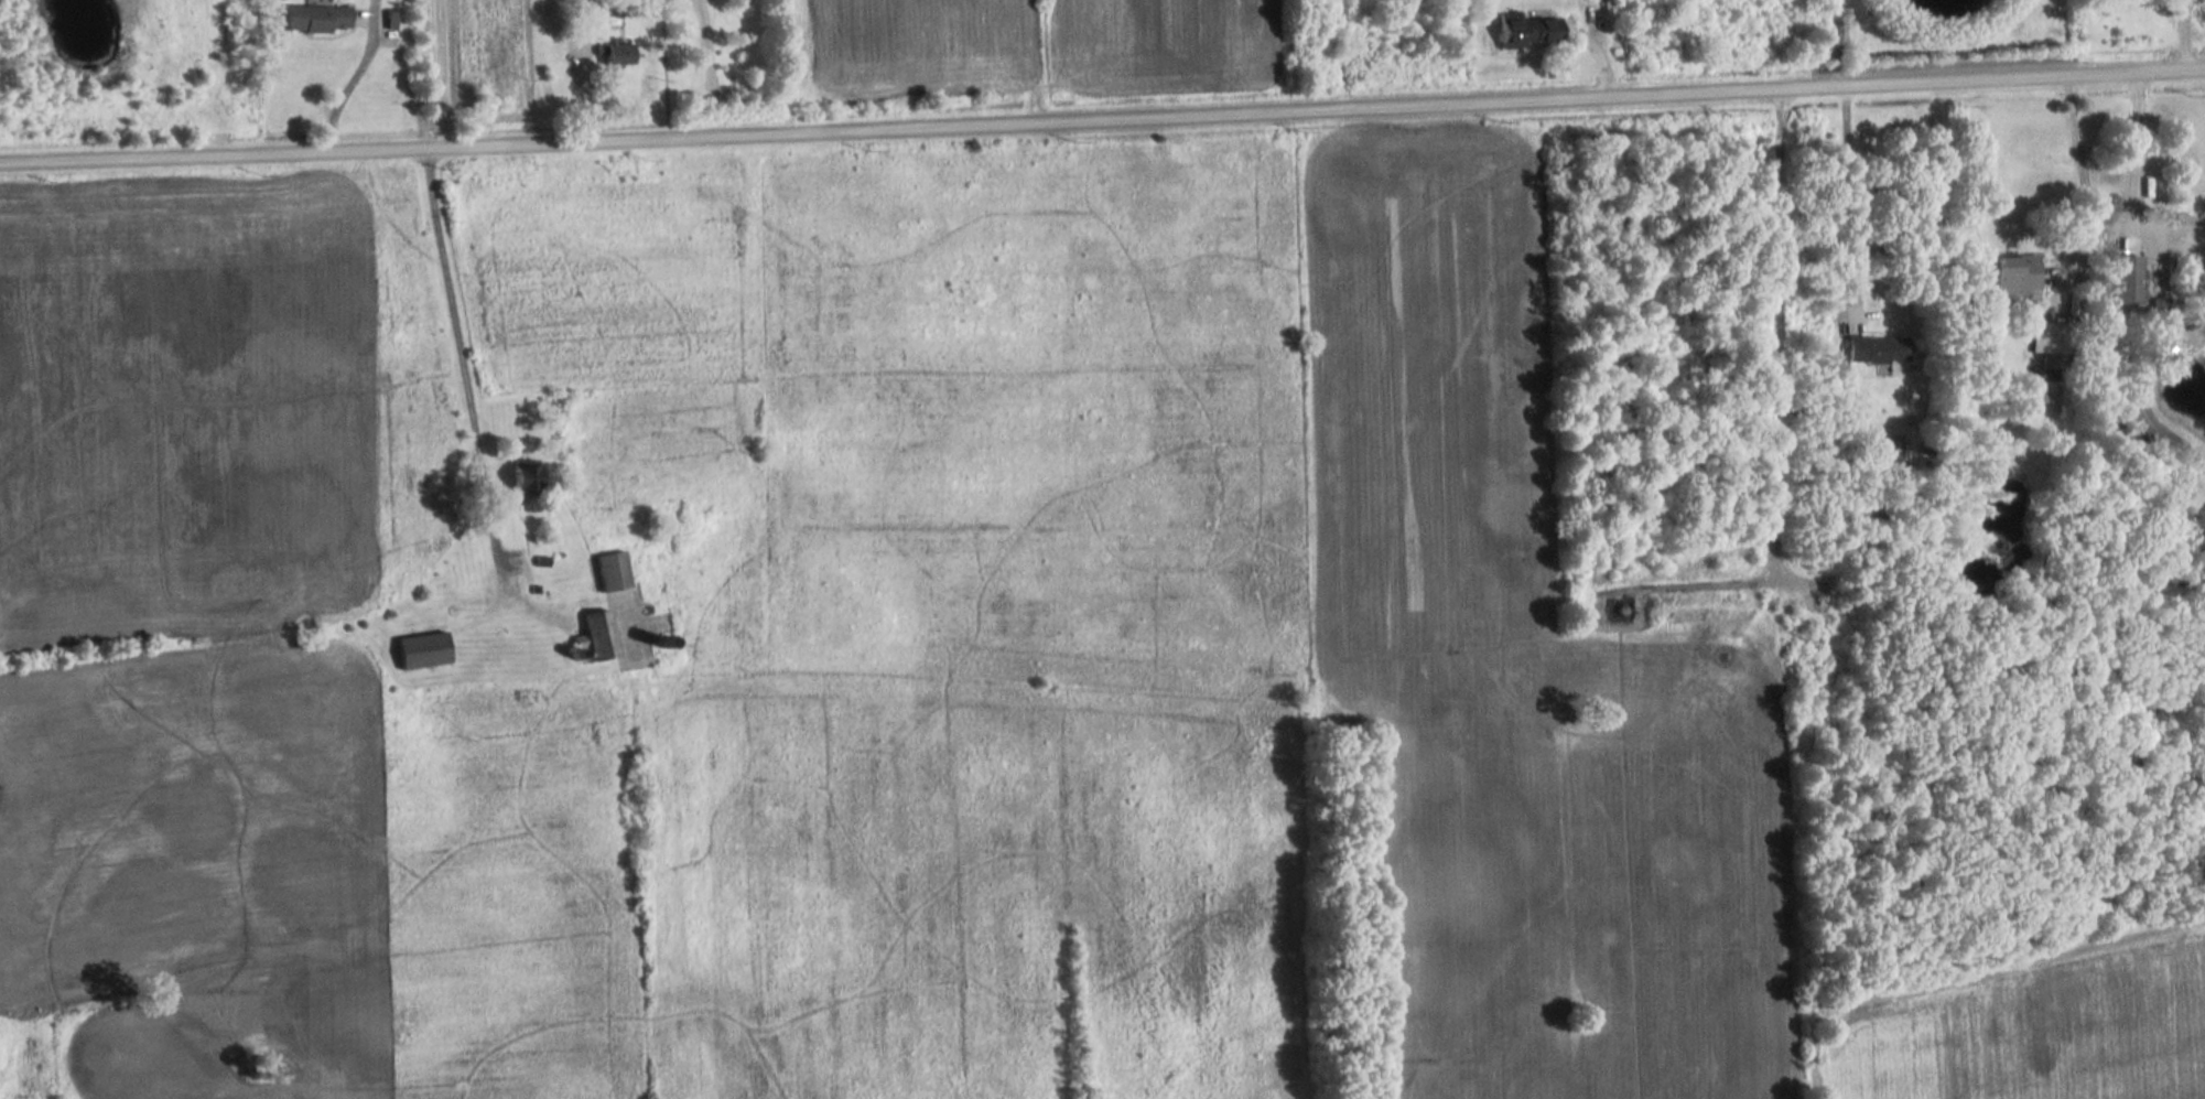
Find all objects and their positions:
building: (313, 20)
building: (1525, 33)
road: (2183, 33)
road: (1831, 42)
crop: (902, 43)
crop: (1161, 45)
building: (614, 55)
road: (706, 65)
road: (436, 72)
road: (349, 82)
road: (1102, 115)
road: (2082, 175)
road: (2129, 184)
building: (2010, 279)
building: (2125, 280)
road: (448, 327)
building: (1876, 349)
building: (528, 481)
building: (614, 572)
building: (601, 636)
building: (424, 650)

